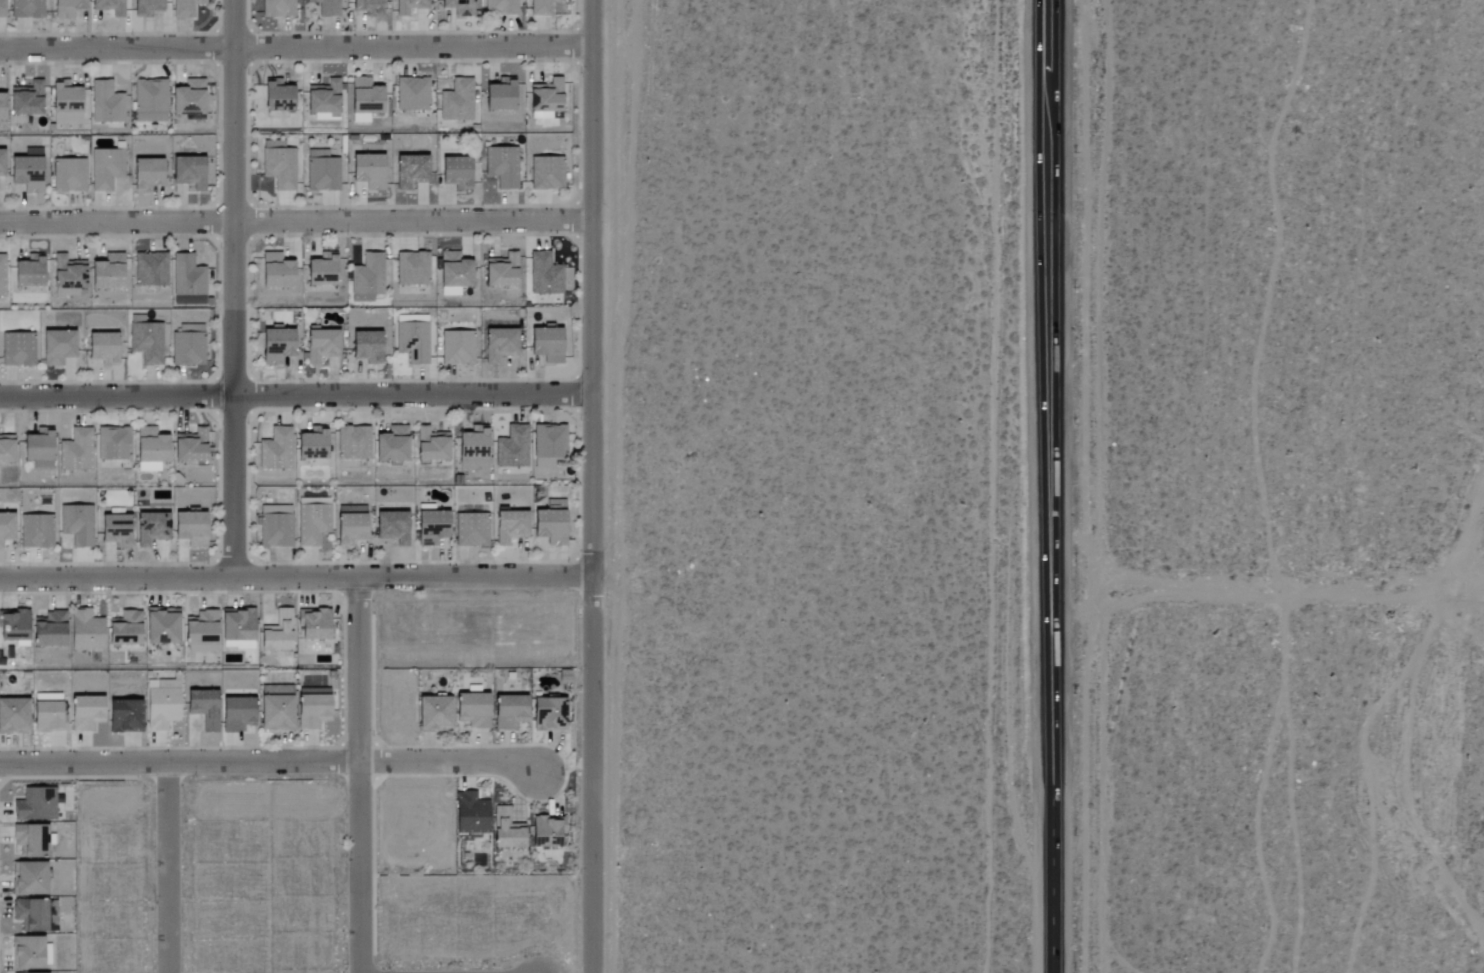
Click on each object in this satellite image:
building: (409, 6)
building: (108, 7)
building: (327, 7)
building: (459, 7)
building: (500, 7)
building: (542, 7)
building: (66, 8)
building: (145, 8)
building: (185, 8)
building: (277, 8)
building: (2, 9)
building: (27, 9)
road: (296, 48)
building: (412, 94)
building: (499, 95)
building: (276, 96)
building: (545, 97)
building: (26, 99)
building: (189, 99)
building: (323, 100)
building: (364, 100)
building: (150, 101)
building: (457, 101)
building: (65, 103)
building: (106, 103)
building: (1, 107)
building: (2, 163)
building: (278, 165)
building: (502, 167)
building: (105, 169)
building: (26, 171)
building: (322, 171)
building: (368, 171)
building: (188, 172)
building: (410, 172)
building: (454, 172)
building: (546, 173)
building: (69, 175)
building: (146, 175)
road: (296, 223)
building: (321, 269)
building: (412, 269)
building: (150, 270)
building: (275, 271)
building: (501, 271)
building: (27, 272)
building: (107, 272)
building: (454, 274)
building: (544, 274)
building: (2, 275)
building: (67, 276)
building: (187, 276)
building: (368, 276)
road: (235, 288)
building: (413, 340)
building: (147, 343)
building: (321, 344)
building: (500, 345)
building: (545, 345)
building: (188, 346)
building: (276, 346)
building: (57, 347)
building: (366, 347)
building: (457, 347)
building: (101, 348)
building: (18, 350)
road: (297, 399)
building: (353, 443)
building: (472, 443)
building: (113, 444)
building: (311, 445)
building: (392, 445)
building: (431, 445)
building: (548, 445)
building: (150, 446)
building: (190, 447)
building: (35, 448)
building: (512, 448)
building: (6, 449)
building: (76, 450)
building: (275, 450)
building: (474, 462)
building: (148, 467)
road: (594, 486)
road: (1056, 486)
building: (312, 521)
building: (76, 525)
building: (275, 526)
building: (350, 526)
building: (549, 526)
building: (392, 527)
building: (510, 527)
building: (6, 528)
building: (431, 528)
building: (151, 529)
building: (189, 529)
building: (471, 530)
building: (36, 531)
building: (114, 531)
road: (1270, 576)
road: (297, 577)
building: (313, 625)
building: (13, 626)
building: (161, 626)
building: (48, 630)
building: (124, 630)
building: (200, 630)
building: (85, 631)
building: (277, 633)
building: (161, 704)
building: (203, 708)
building: (275, 708)
building: (312, 708)
building: (471, 710)
building: (508, 712)
building: (85, 713)
building: (433, 714)
building: (235, 715)
building: (548, 715)
building: (13, 716)
building: (123, 717)
building: (47, 718)
road: (271, 763)
road: (359, 775)
building: (35, 804)
building: (470, 813)
building: (506, 829)
building: (30, 839)
road: (168, 868)
building: (28, 878)
building: (30, 913)
building: (29, 952)

